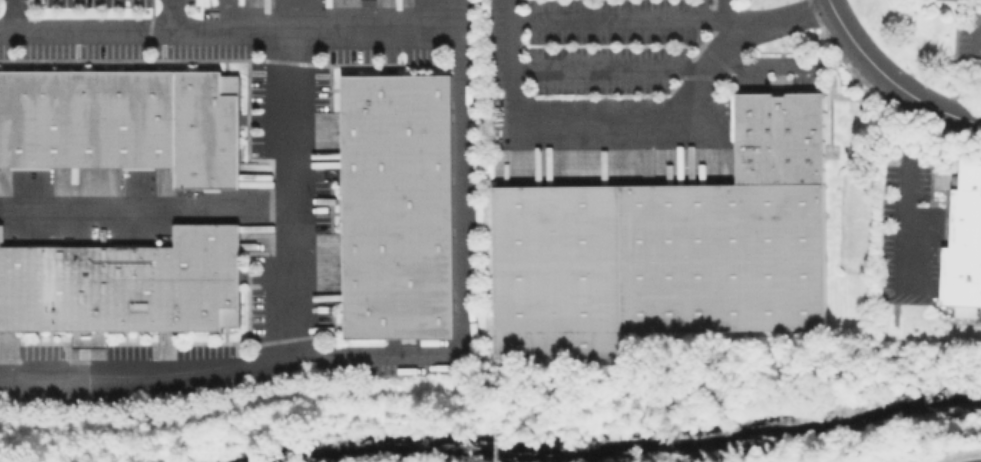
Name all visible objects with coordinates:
road: (11, 15)
road: (173, 16)
road: (460, 16)
road: (729, 16)
road: (780, 20)
road: (229, 32)
road: (979, 47)
road: (763, 64)
road: (876, 67)
building: (124, 119)
road: (963, 119)
road: (590, 135)
building: (729, 170)
road: (912, 193)
road: (145, 205)
building: (398, 205)
road: (291, 220)
building: (965, 239)
building: (673, 245)
road: (458, 277)
building: (125, 283)
road: (120, 372)
road: (218, 412)

